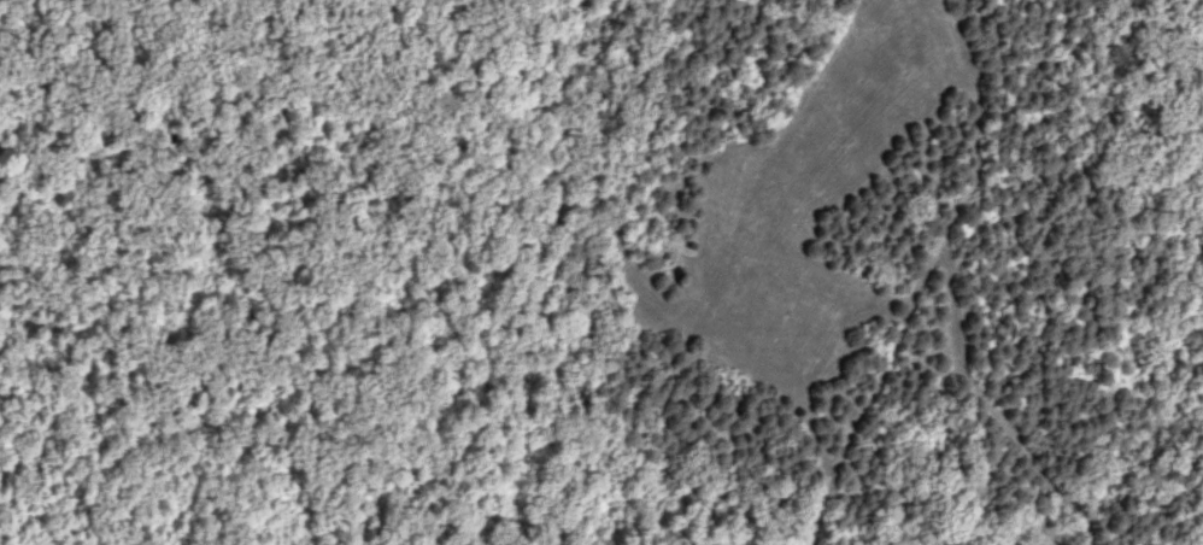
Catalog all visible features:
road: (888, 274)

